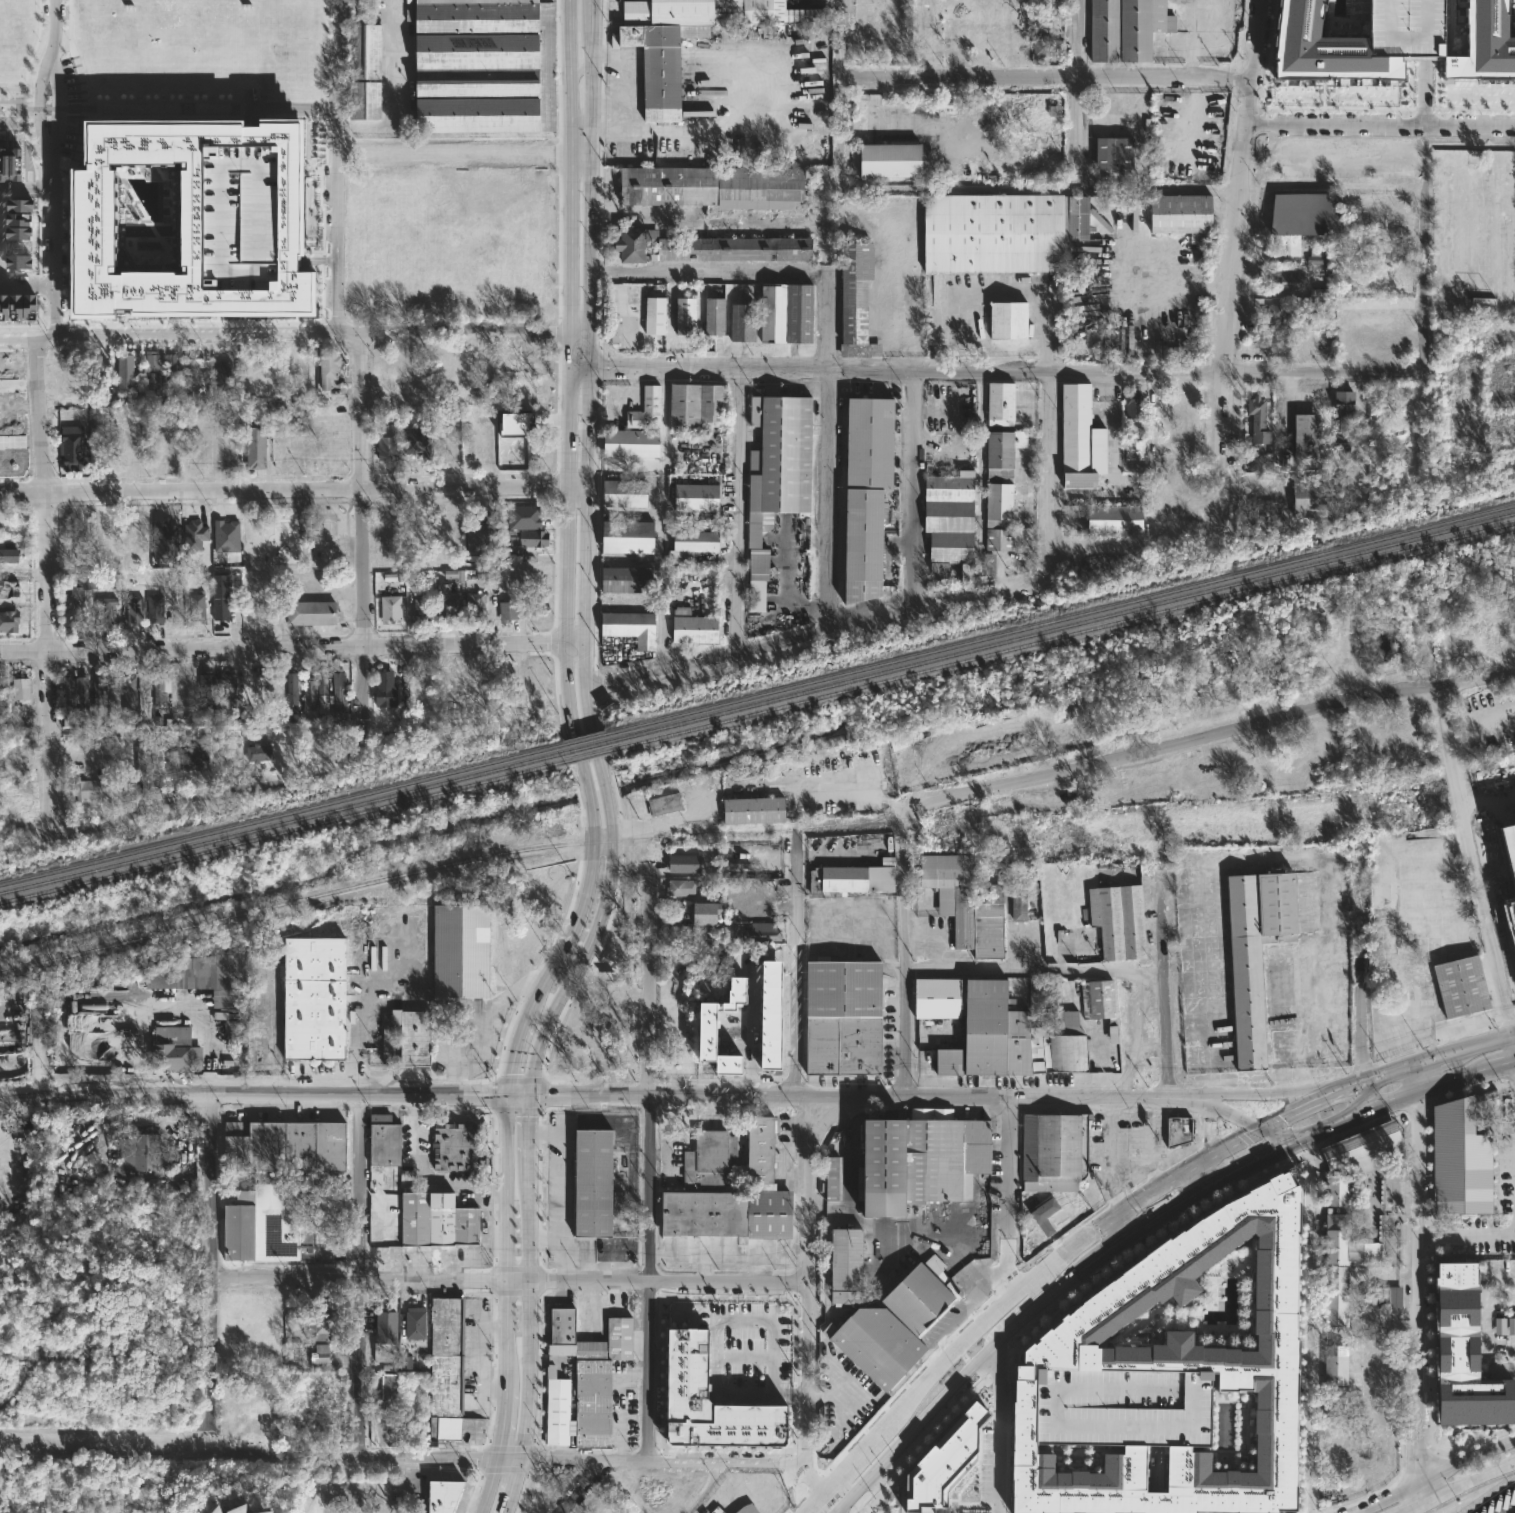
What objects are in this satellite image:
road: (592, 0)
road: (834, 2)
building: (706, 11)
building: (1124, 28)
building: (1406, 28)
parking garage: (1406, 28)
road: (591, 32)
building: (1485, 42)
building: (1322, 46)
building: (1043, 48)
building: (367, 50)
road: (396, 61)
building: (661, 65)
building: (485, 66)
road: (577, 67)
road: (624, 79)
road: (1049, 80)
road: (842, 84)
road: (1079, 95)
building: (367, 100)
road: (295, 109)
road: (1382, 127)
road: (671, 129)
road: (1471, 144)
railway: (274, 147)
building: (1110, 152)
building: (890, 161)
building: (15, 162)
building: (3, 163)
road: (336, 167)
road: (50, 168)
building: (712, 186)
road: (27, 189)
road: (1036, 190)
building: (1177, 213)
building: (1303, 213)
building: (1381, 214)
building: (240, 217)
parking garage: (240, 217)
building: (94, 219)
road: (697, 219)
building: (998, 232)
park: (446, 244)
building: (1287, 246)
building: (702, 247)
building: (1388, 251)
road: (1427, 262)
road: (1234, 263)
road: (708, 271)
building: (1282, 284)
road: (27, 287)
building: (854, 301)
building: (4, 307)
building: (786, 313)
building: (1278, 314)
building: (689, 315)
building: (658, 316)
building: (715, 317)
building: (1004, 320)
building: (742, 322)
road: (567, 326)
road: (577, 332)
building: (1445, 334)
road: (283, 335)
building: (1395, 344)
building: (1275, 346)
building: (525, 358)
building: (175, 367)
building: (196, 367)
building: (330, 367)
building: (128, 368)
building: (95, 370)
building: (155, 371)
road: (588, 373)
road: (989, 373)
building: (224, 376)
road: (10, 390)
building: (996, 403)
building: (696, 404)
building: (1132, 405)
building: (647, 409)
building: (1343, 419)
building: (516, 424)
building: (1258, 434)
building: (1304, 434)
building: (1078, 438)
building: (420, 441)
road: (10, 443)
building: (634, 443)
building: (1134, 444)
building: (257, 447)
building: (389, 449)
building: (74, 450)
road: (1164, 450)
road: (828, 453)
building: (286, 456)
building: (167, 457)
road: (1050, 468)
building: (774, 472)
road: (576, 488)
building: (998, 488)
road: (283, 491)
building: (627, 493)
building: (865, 493)
road: (914, 493)
building: (693, 497)
building: (1309, 497)
road: (738, 512)
building: (538, 513)
building: (1263, 518)
building: (1112, 519)
road: (662, 521)
building: (946, 522)
building: (392, 527)
building: (451, 533)
building: (228, 534)
building: (197, 535)
building: (629, 537)
building: (529, 538)
building: (476, 542)
building: (166, 544)
building: (690, 545)
road: (363, 547)
building: (10, 551)
building: (624, 579)
building: (531, 583)
road: (39, 587)
building: (10, 590)
building: (79, 599)
building: (222, 599)
building: (450, 603)
building: (481, 604)
building: (157, 606)
building: (198, 607)
building: (423, 607)
building: (107, 608)
building: (392, 609)
building: (137, 610)
building: (510, 611)
building: (314, 613)
railway: (1059, 618)
building: (10, 622)
building: (630, 627)
building: (693, 627)
railway: (1060, 627)
road: (825, 633)
railway: (1061, 635)
road: (575, 642)
road: (282, 650)
building: (209, 684)
building: (163, 688)
building: (292, 688)
building: (323, 688)
building: (22, 689)
building: (387, 690)
building: (2, 692)
building: (68, 692)
building: (130, 692)
building: (230, 692)
building: (85, 695)
building: (99, 698)
road: (1220, 734)
railway: (583, 737)
railway: (585, 746)
railway: (587, 754)
building: (197, 755)
building: (258, 755)
building: (146, 764)
building: (173, 765)
building: (88, 789)
road: (200, 795)
road: (1489, 799)
building: (667, 804)
building: (750, 809)
railway: (281, 814)
railway: (282, 821)
railway: (851, 827)
railway: (283, 830)
road: (597, 843)
building: (1508, 853)
parking garage: (1508, 853)
road: (1477, 857)
road: (1280, 858)
building: (684, 862)
railway: (388, 876)
building: (851, 878)
building: (683, 887)
building: (766, 889)
road: (611, 896)
building: (964, 903)
building: (1017, 904)
building: (1514, 906)
building: (699, 913)
building: (1115, 920)
building: (760, 931)
building: (681, 934)
road: (905, 946)
building: (464, 949)
building: (1253, 952)
road: (1361, 961)
road: (1035, 972)
building: (206, 974)
building: (1457, 985)
building: (737, 989)
road: (1165, 990)
building: (319, 997)
building: (933, 997)
building: (1096, 1000)
building: (843, 1016)
road: (356, 1020)
road: (482, 1023)
building: (712, 1024)
building: (239, 1031)
building: (416, 1035)
building: (1007, 1036)
building: (177, 1048)
road: (512, 1056)
road: (1436, 1057)
road: (1502, 1066)
road: (1301, 1077)
road: (1206, 1082)
road: (1430, 1086)
road: (1264, 1089)
road: (253, 1092)
traffic signals: (508, 1095)
traffic signals: (533, 1095)
road: (1363, 1096)
road: (839, 1097)
road: (1308, 1105)
road: (1217, 1107)
road: (1419, 1118)
road: (1328, 1122)
road: (1212, 1125)
road: (533, 1126)
building: (1174, 1129)
traffic signals: (1260, 1130)
road: (1273, 1137)
building: (387, 1140)
traffic signals: (1286, 1144)
building: (288, 1146)
building: (460, 1147)
building: (1364, 1147)
building: (141, 1152)
road: (651, 1154)
building: (1459, 1158)
building: (915, 1161)
building: (1050, 1162)
road: (808, 1171)
road: (420, 1177)
building: (709, 1177)
building: (831, 1177)
road: (1198, 1177)
building: (592, 1182)
road: (560, 1186)
building: (1334, 1190)
road: (1200, 1191)
building: (1372, 1192)
road: (1007, 1199)
road: (1127, 1207)
road: (70, 1208)
building: (440, 1220)
building: (272, 1226)
road: (1112, 1235)
road: (1467, 1235)
building: (1335, 1238)
road: (508, 1241)
road: (211, 1254)
road: (365, 1254)
road: (560, 1260)
road: (1100, 1261)
building: (846, 1265)
road: (967, 1272)
road: (509, 1282)
building: (1381, 1294)
road: (1018, 1305)
road: (532, 1308)
building: (893, 1320)
building: (325, 1324)
building: (400, 1332)
road: (715, 1337)
road: (1419, 1338)
building: (1334, 1348)
building: (1463, 1352)
building: (321, 1358)
road: (942, 1363)
building: (450, 1370)
building: (596, 1373)
building: (1161, 1382)
building: (390, 1387)
building: (688, 1387)
road: (959, 1391)
road: (829, 1395)
building: (560, 1411)
road: (508, 1424)
road: (997, 1430)
road: (117, 1440)
road: (286, 1452)
road: (410, 1460)
road: (511, 1460)
road: (665, 1460)
building: (944, 1463)
road: (845, 1469)
road: (1431, 1474)
road: (1457, 1484)
road: (404, 1486)
road: (487, 1486)
road: (517, 1486)
road: (574, 1487)
building: (446, 1496)
building: (750, 1509)
building: (717, 1510)
building: (234, 1511)
road: (1513, 1511)
building: (263, 1512)
building: (726, 1512)
road: (807, 1512)
road: (808, 1512)

